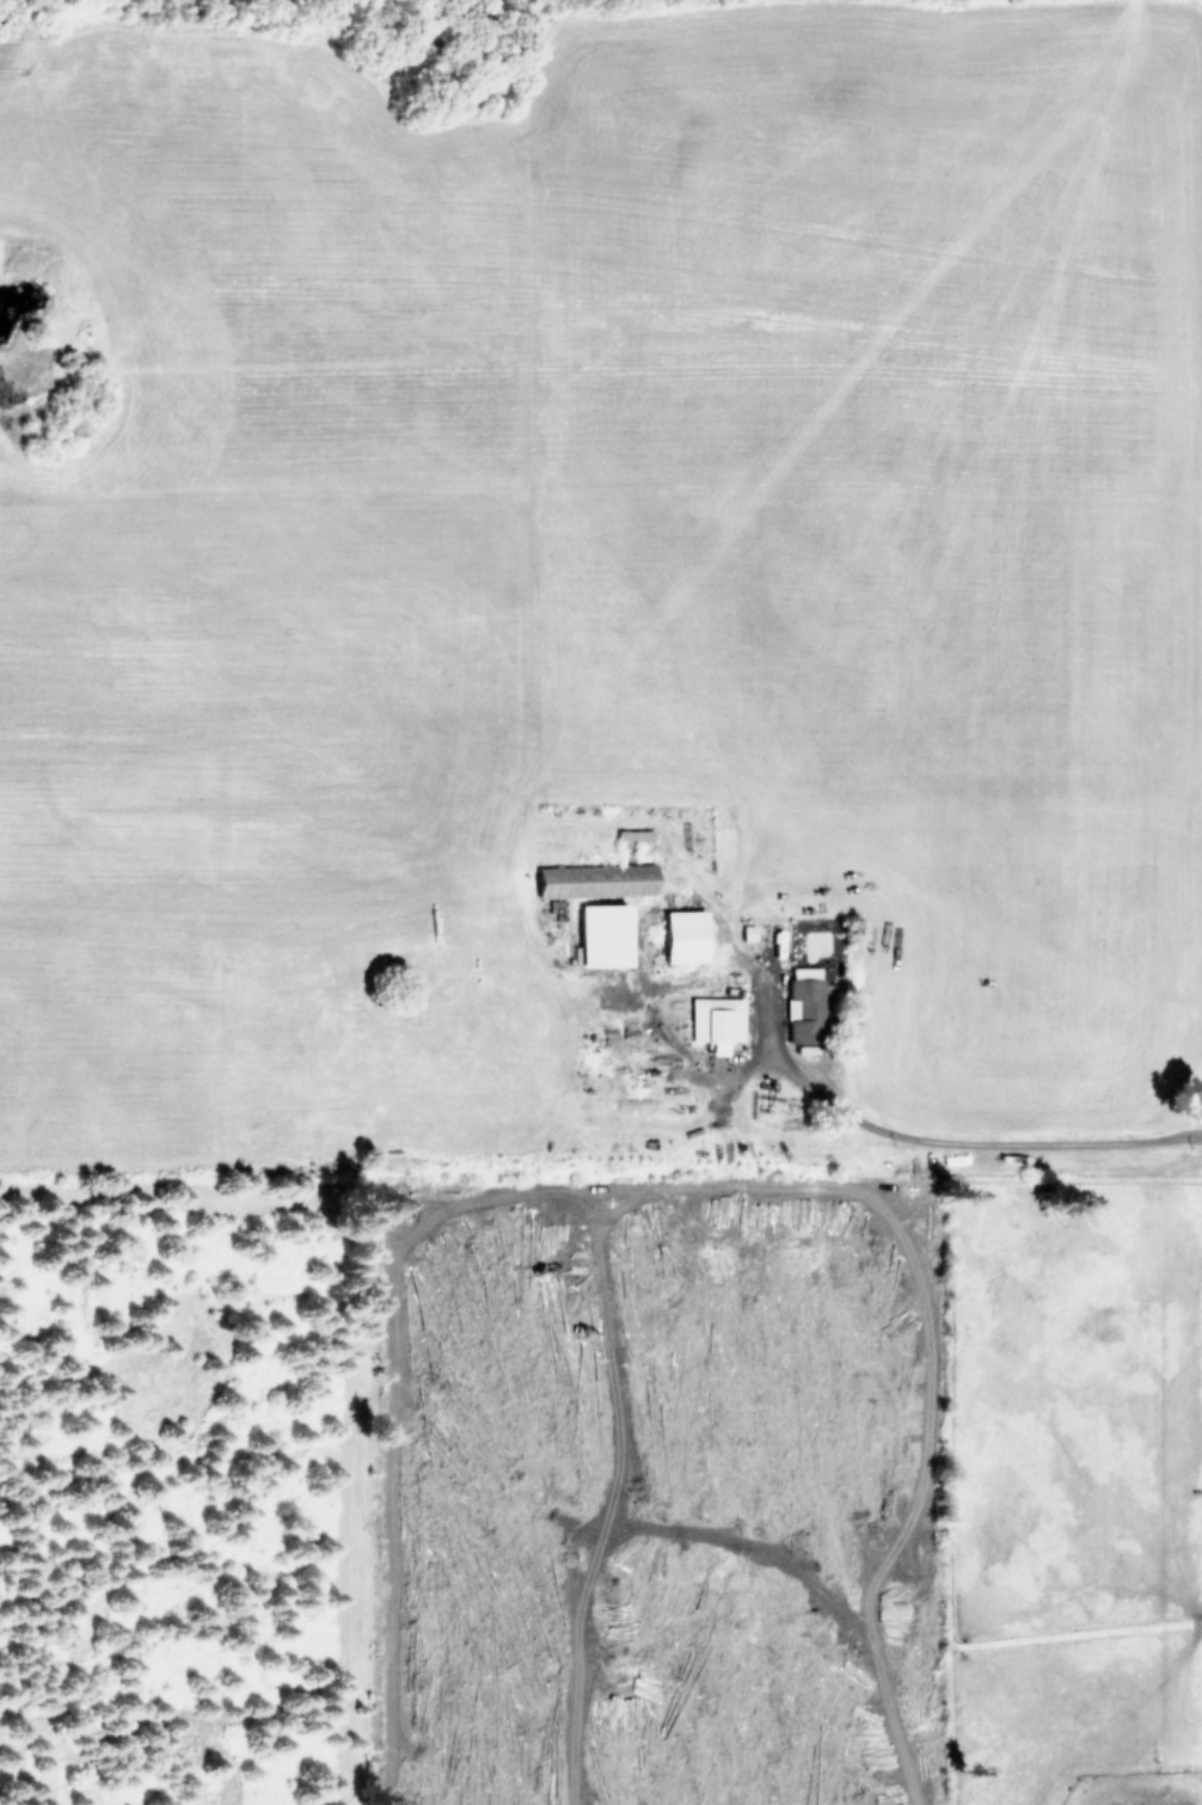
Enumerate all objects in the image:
crop: (652, 682)
building: (591, 879)
building: (597, 933)
building: (681, 935)
building: (803, 1003)
building: (715, 1020)
road: (928, 1141)

